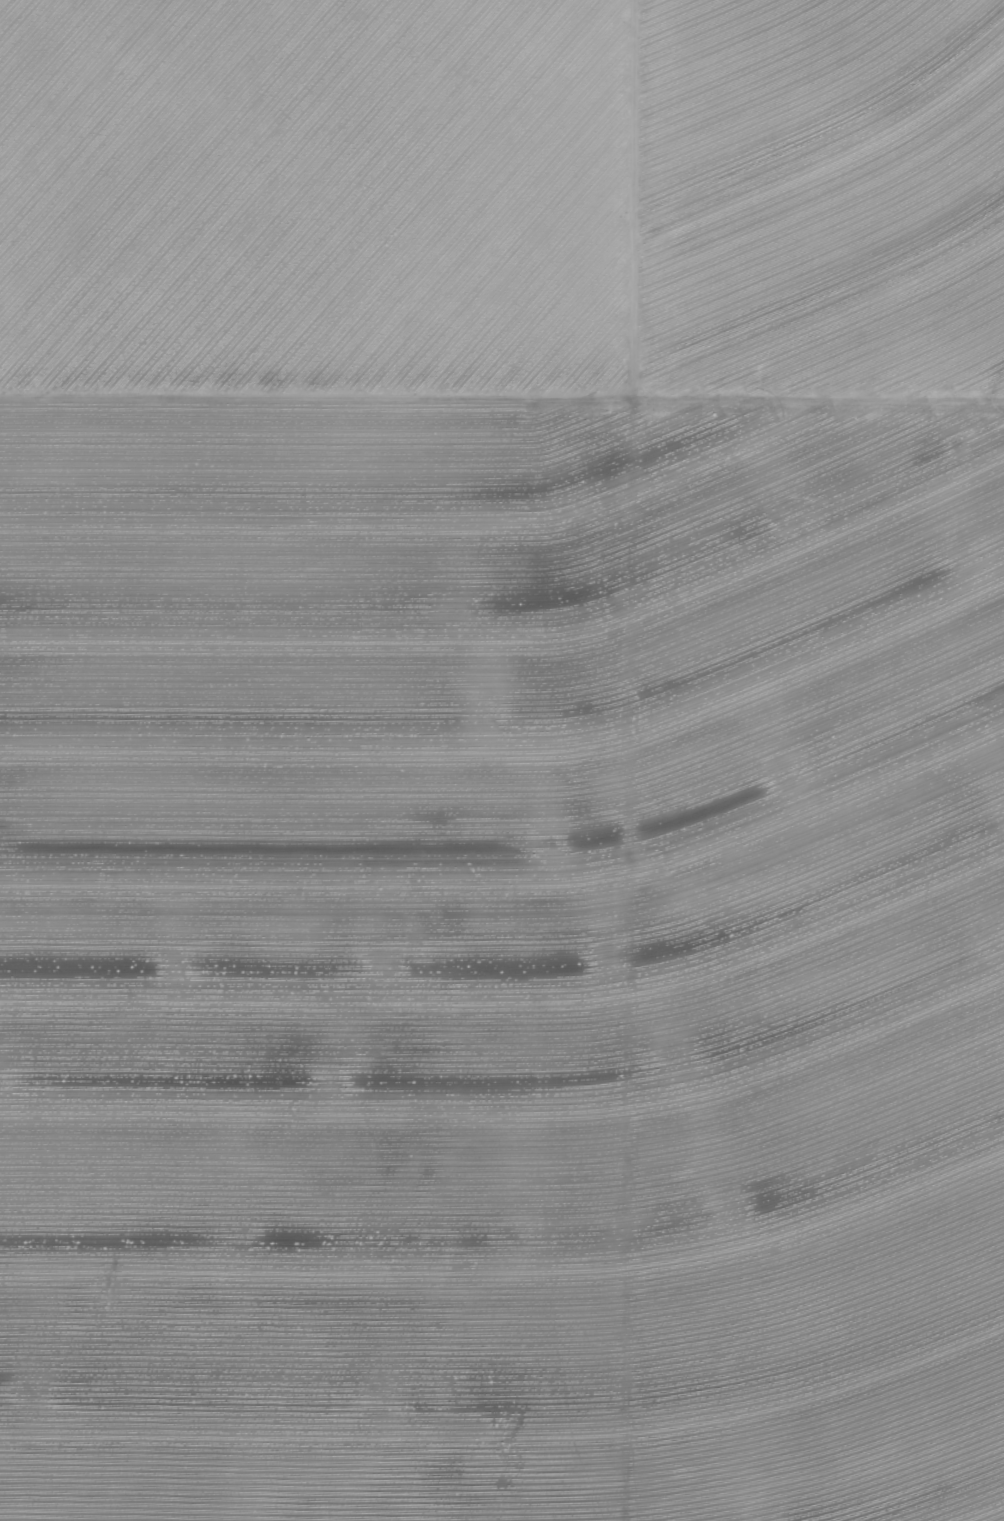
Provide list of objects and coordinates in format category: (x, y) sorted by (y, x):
road: (507, 402)

